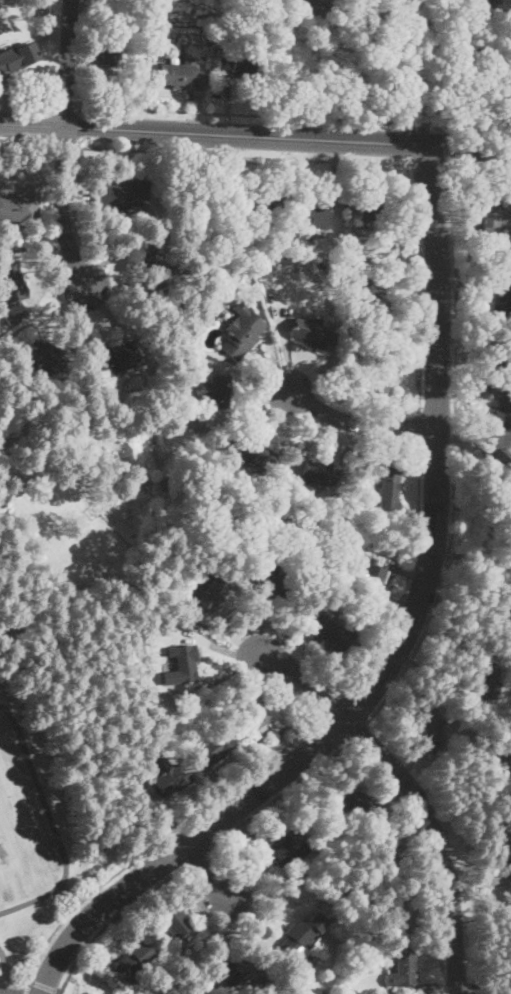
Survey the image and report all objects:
building: (315, 0)
building: (482, 9)
building: (208, 40)
building: (481, 48)
building: (107, 51)
building: (18, 57)
road: (69, 63)
building: (238, 65)
building: (461, 67)
road: (410, 72)
building: (182, 75)
road: (28, 103)
road: (67, 105)
road: (243, 114)
road: (421, 123)
road: (403, 127)
road: (469, 130)
road: (212, 133)
road: (27, 145)
road: (405, 145)
road: (445, 146)
road: (64, 147)
road: (467, 147)
road: (243, 155)
road: (427, 163)
road: (476, 165)
building: (118, 194)
building: (21, 204)
building: (262, 206)
road: (64, 207)
building: (370, 211)
building: (309, 217)
building: (491, 217)
building: (352, 247)
building: (229, 260)
building: (322, 265)
building: (265, 266)
building: (157, 269)
building: (10, 283)
road: (422, 284)
building: (503, 293)
building: (367, 297)
building: (12, 314)
building: (242, 330)
building: (349, 332)
building: (313, 333)
building: (180, 352)
building: (47, 353)
building: (114, 357)
building: (503, 361)
building: (378, 370)
building: (216, 391)
building: (503, 412)
road: (359, 422)
road: (420, 425)
road: (437, 444)
road: (454, 451)
building: (254, 455)
building: (501, 461)
building: (318, 473)
building: (281, 492)
building: (388, 493)
road: (409, 578)
building: (370, 579)
building: (270, 582)
building: (344, 589)
building: (213, 591)
building: (505, 615)
building: (164, 622)
building: (150, 625)
building: (329, 634)
building: (184, 664)
road: (302, 679)
building: (487, 679)
road: (336, 708)
building: (430, 719)
building: (263, 726)
road: (339, 728)
road: (358, 730)
building: (210, 750)
building: (153, 754)
building: (501, 763)
building: (171, 778)
road: (282, 796)
building: (350, 798)
track: (24, 828)
park: (23, 829)
building: (501, 836)
road: (439, 841)
road: (153, 847)
road: (181, 847)
building: (285, 849)
road: (427, 855)
road: (200, 856)
building: (390, 856)
road: (208, 868)
building: (510, 884)
road: (73, 893)
building: (402, 917)
road: (114, 920)
building: (174, 923)
building: (297, 939)
building: (319, 942)
building: (134, 961)
road: (5, 963)
building: (403, 968)
building: (248, 973)
road: (45, 986)
road: (26, 987)

